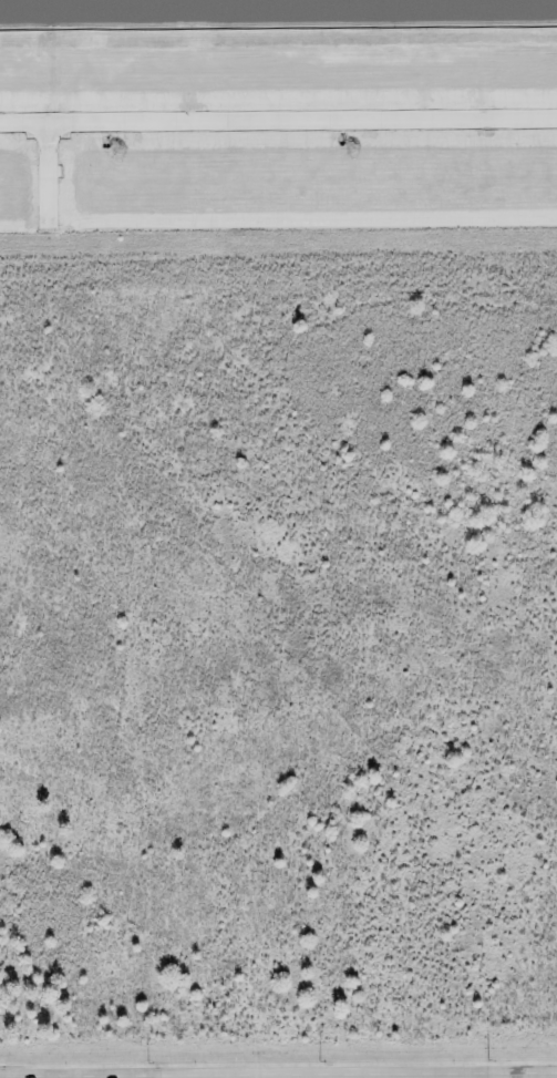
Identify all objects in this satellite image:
road: (278, 116)
road: (296, 1072)
road: (17, 1075)

